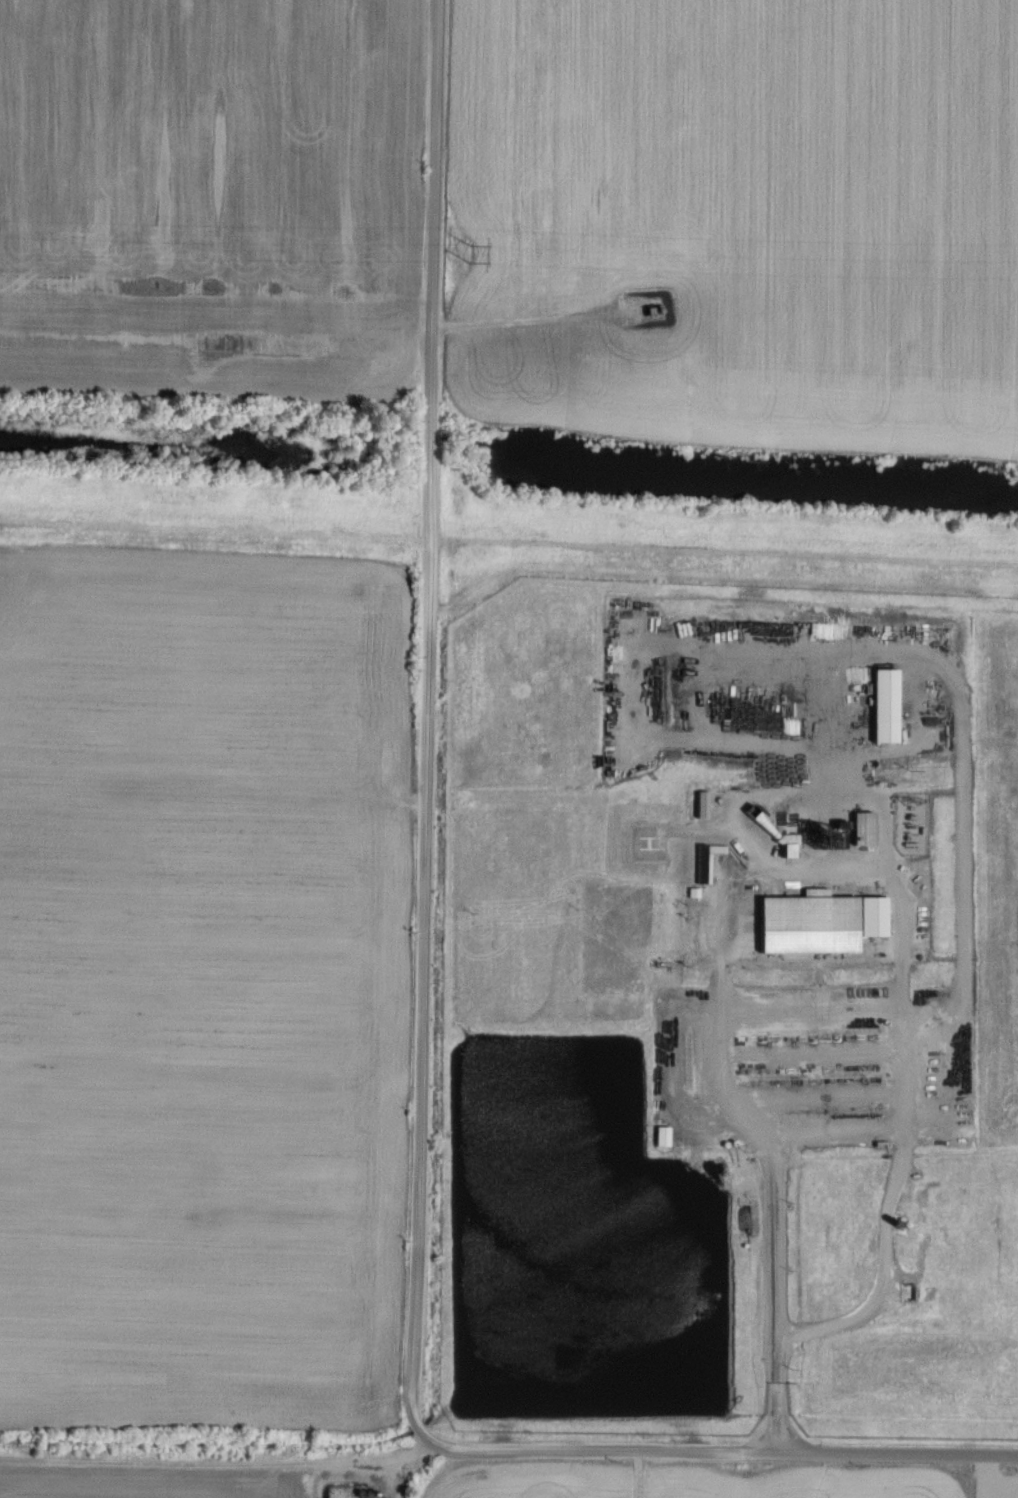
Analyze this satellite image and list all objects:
power tower: (473, 255)
road: (532, 323)
building: (886, 707)
road: (429, 760)
road: (215, 793)
building: (702, 805)
building: (864, 829)
building: (702, 865)
road: (779, 867)
building: (873, 917)
building: (808, 925)
building: (662, 1138)
building: (909, 1294)
road: (760, 1453)
road: (219, 1461)
road: (640, 1475)

